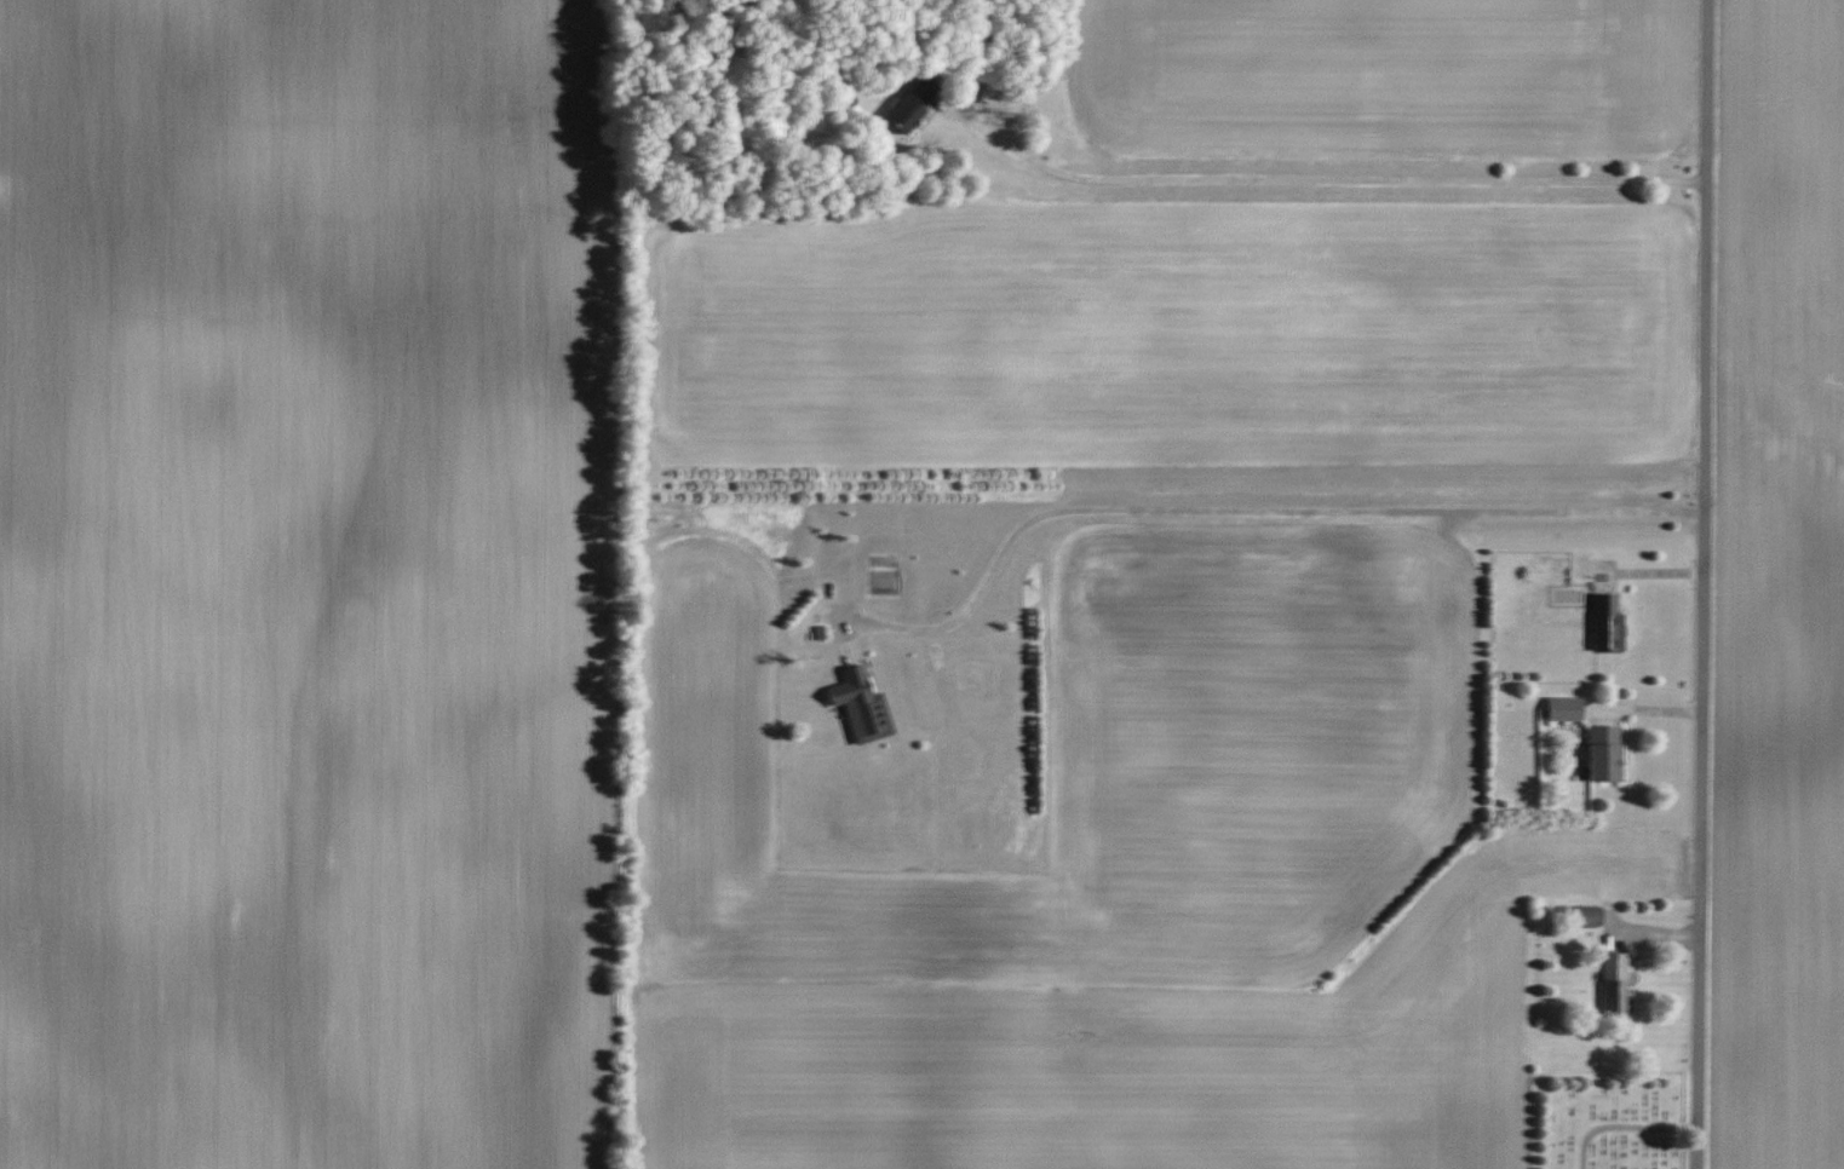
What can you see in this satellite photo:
building: (901, 109)
road: (1331, 178)
road: (1248, 509)
road: (1702, 584)
building: (1602, 624)
building: (864, 706)
building: (1558, 709)
building: (1597, 755)
building: (1581, 915)
building: (1609, 985)
road: (1625, 1128)

